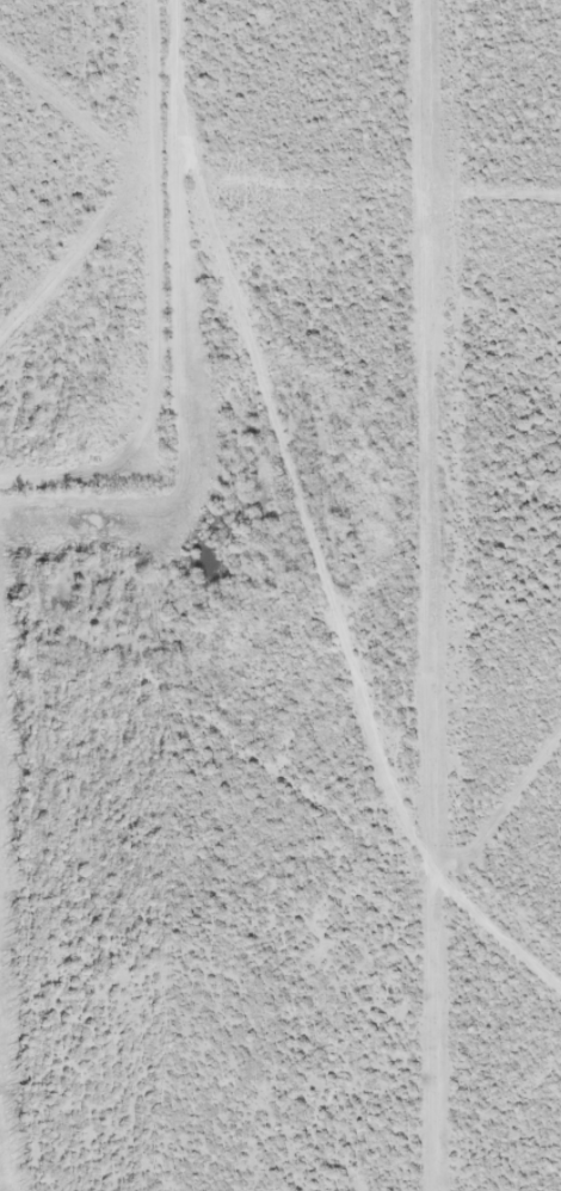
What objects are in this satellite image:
road: (476, 595)

